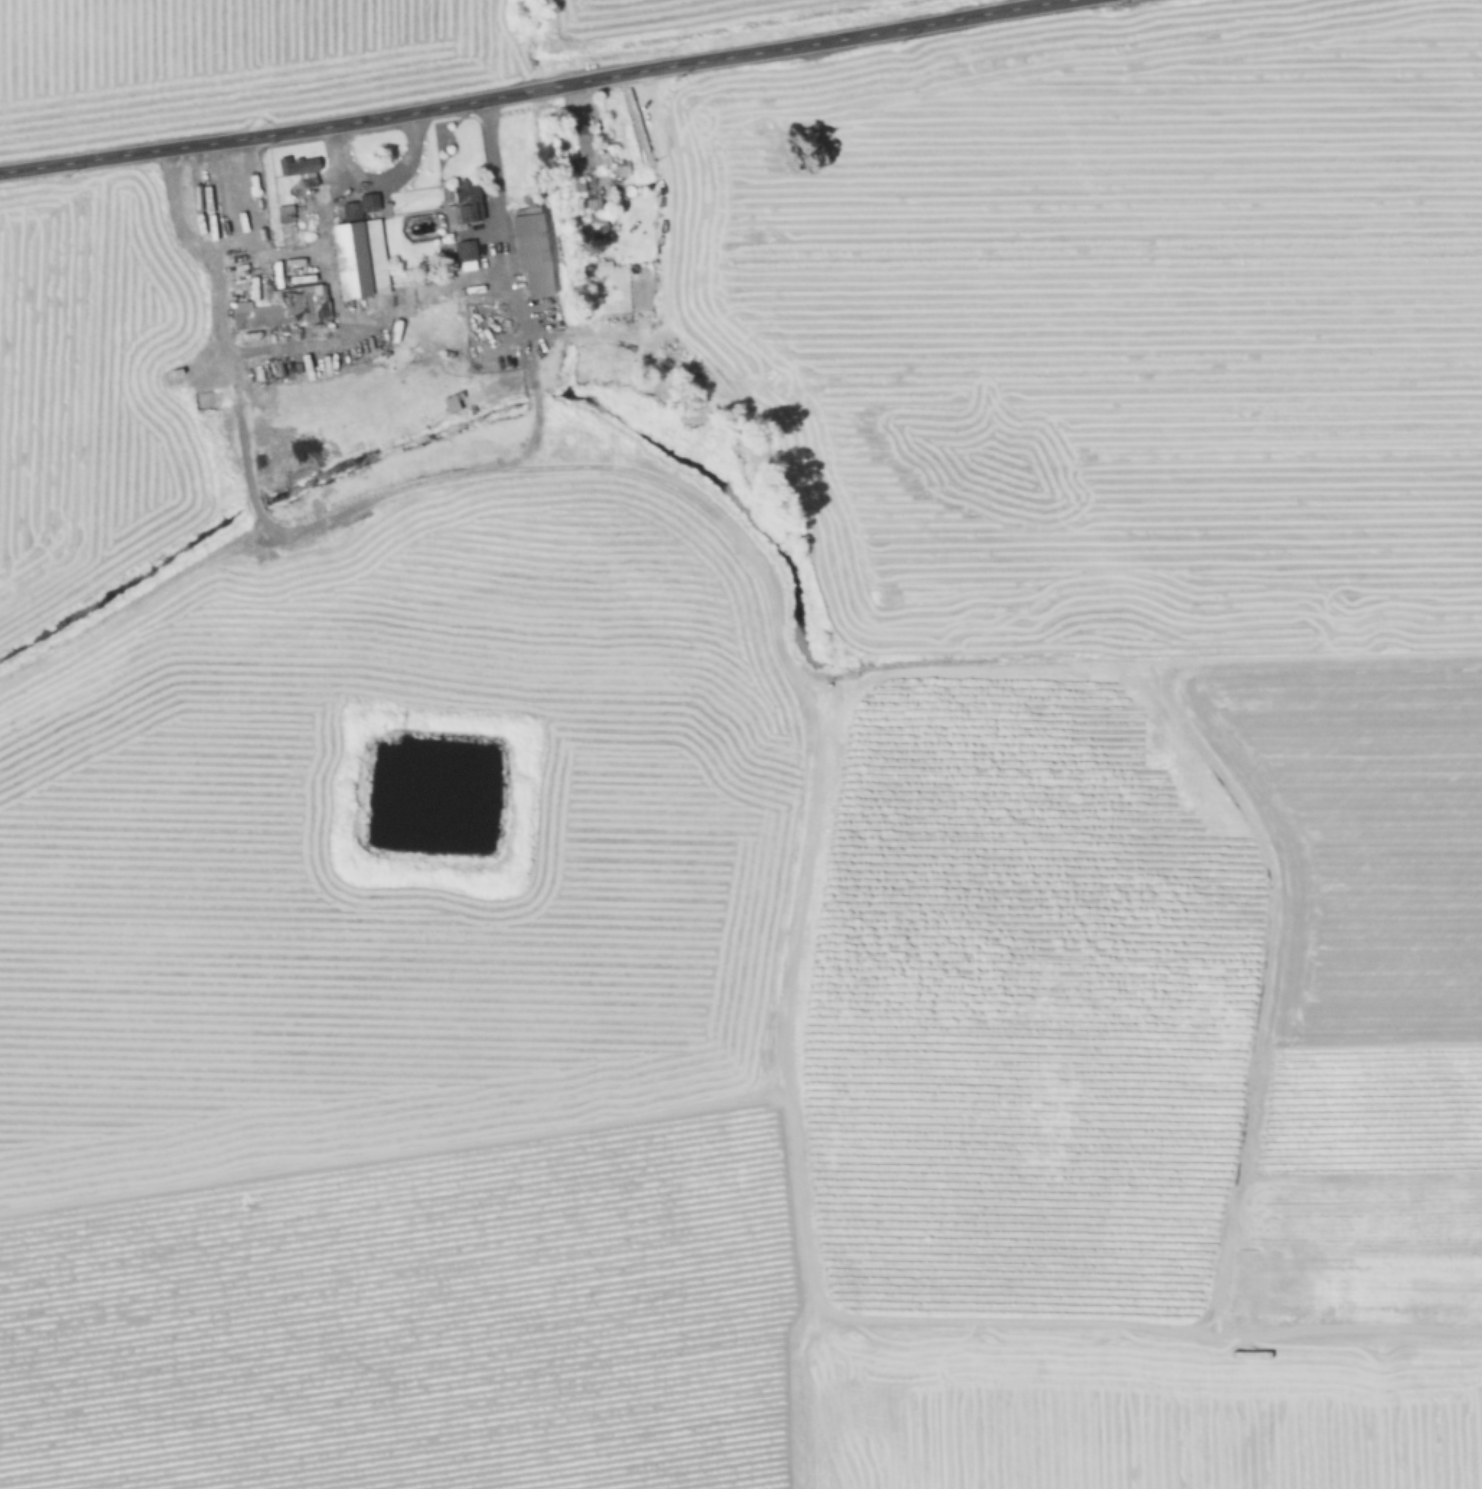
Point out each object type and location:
crop: (302, 48)
road: (539, 92)
building: (583, 145)
building: (299, 166)
road: (390, 170)
road: (490, 185)
road: (201, 199)
building: (467, 203)
road: (173, 208)
building: (285, 214)
building: (590, 220)
building: (466, 252)
building: (532, 254)
building: (360, 260)
road: (420, 294)
building: (282, 308)
road: (337, 330)
building: (451, 404)
building: (229, 435)
crop: (786, 820)

